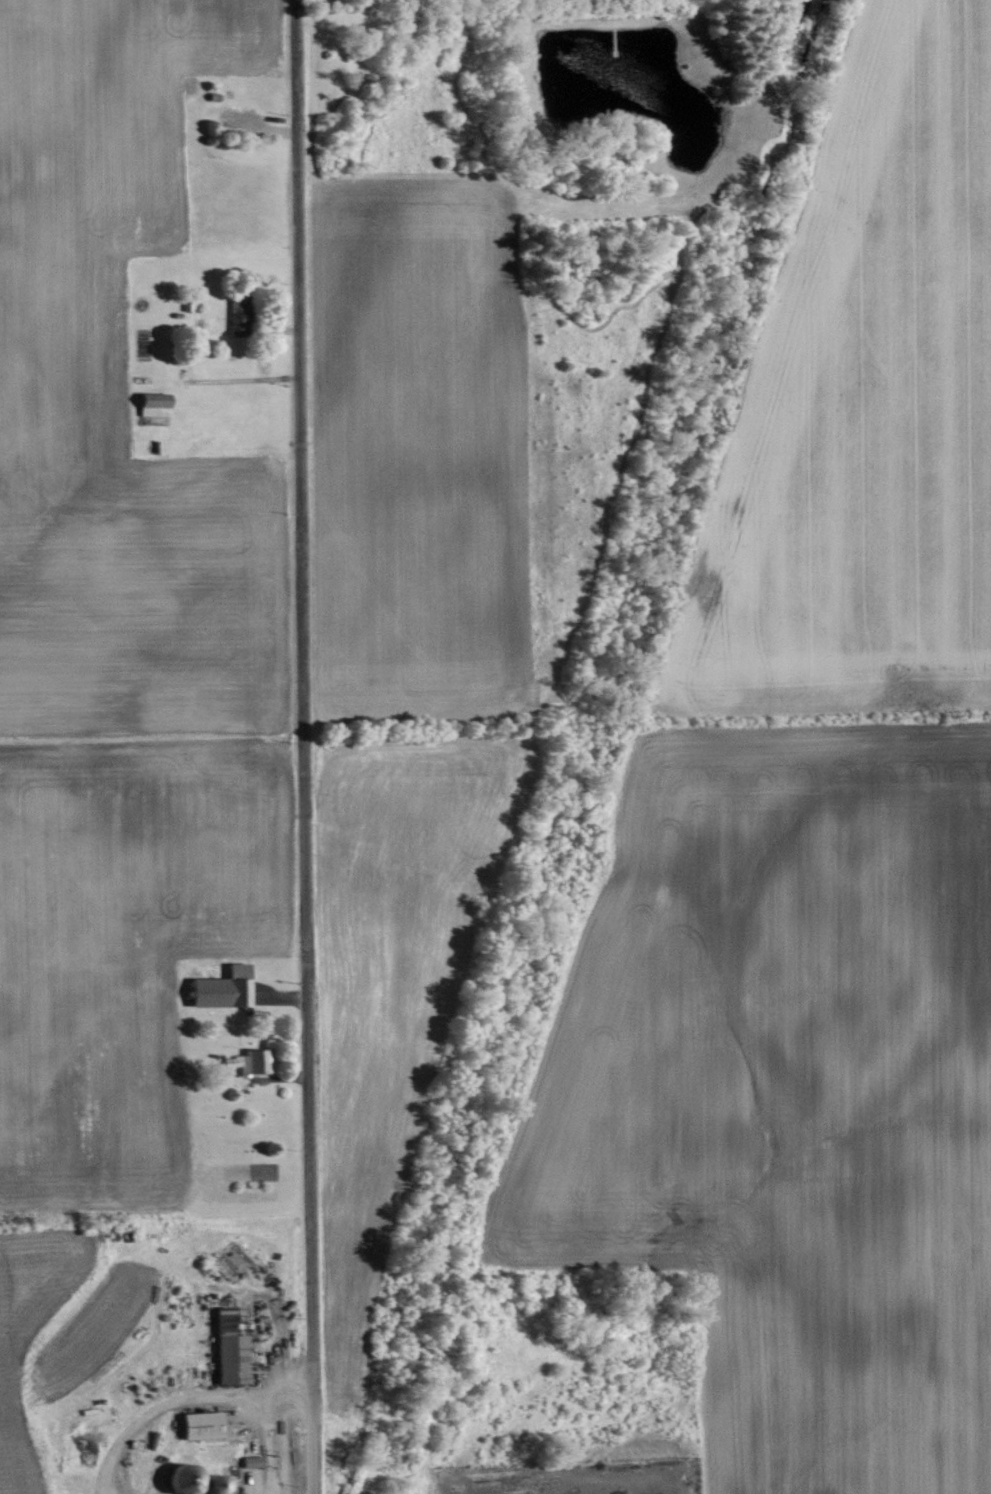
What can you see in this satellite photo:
building: (148, 403)
road: (301, 746)
building: (217, 988)
building: (245, 1061)
building: (223, 1350)
road: (179, 1398)
building: (197, 1423)
building: (185, 1480)

